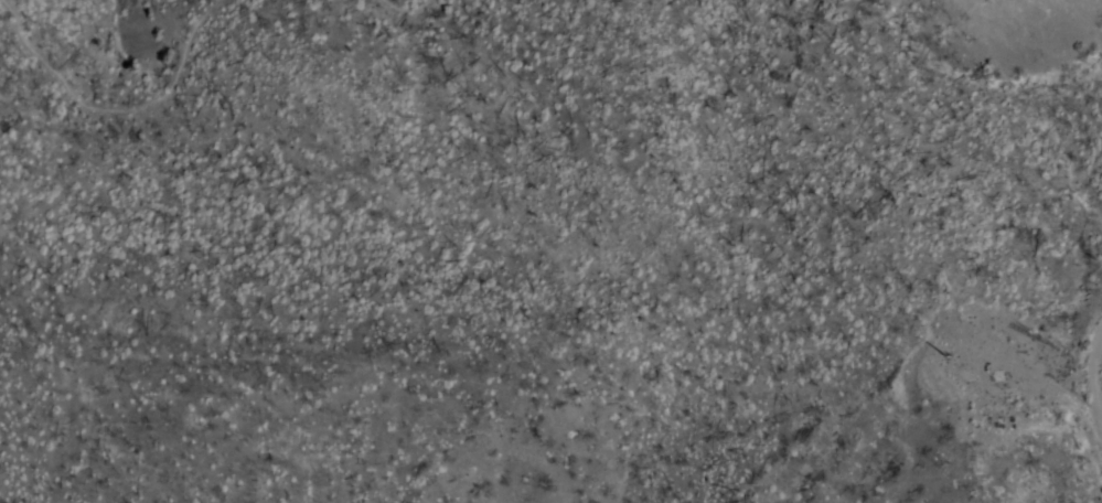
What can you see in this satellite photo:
road: (406, 12)
road: (114, 108)
road: (1083, 375)

